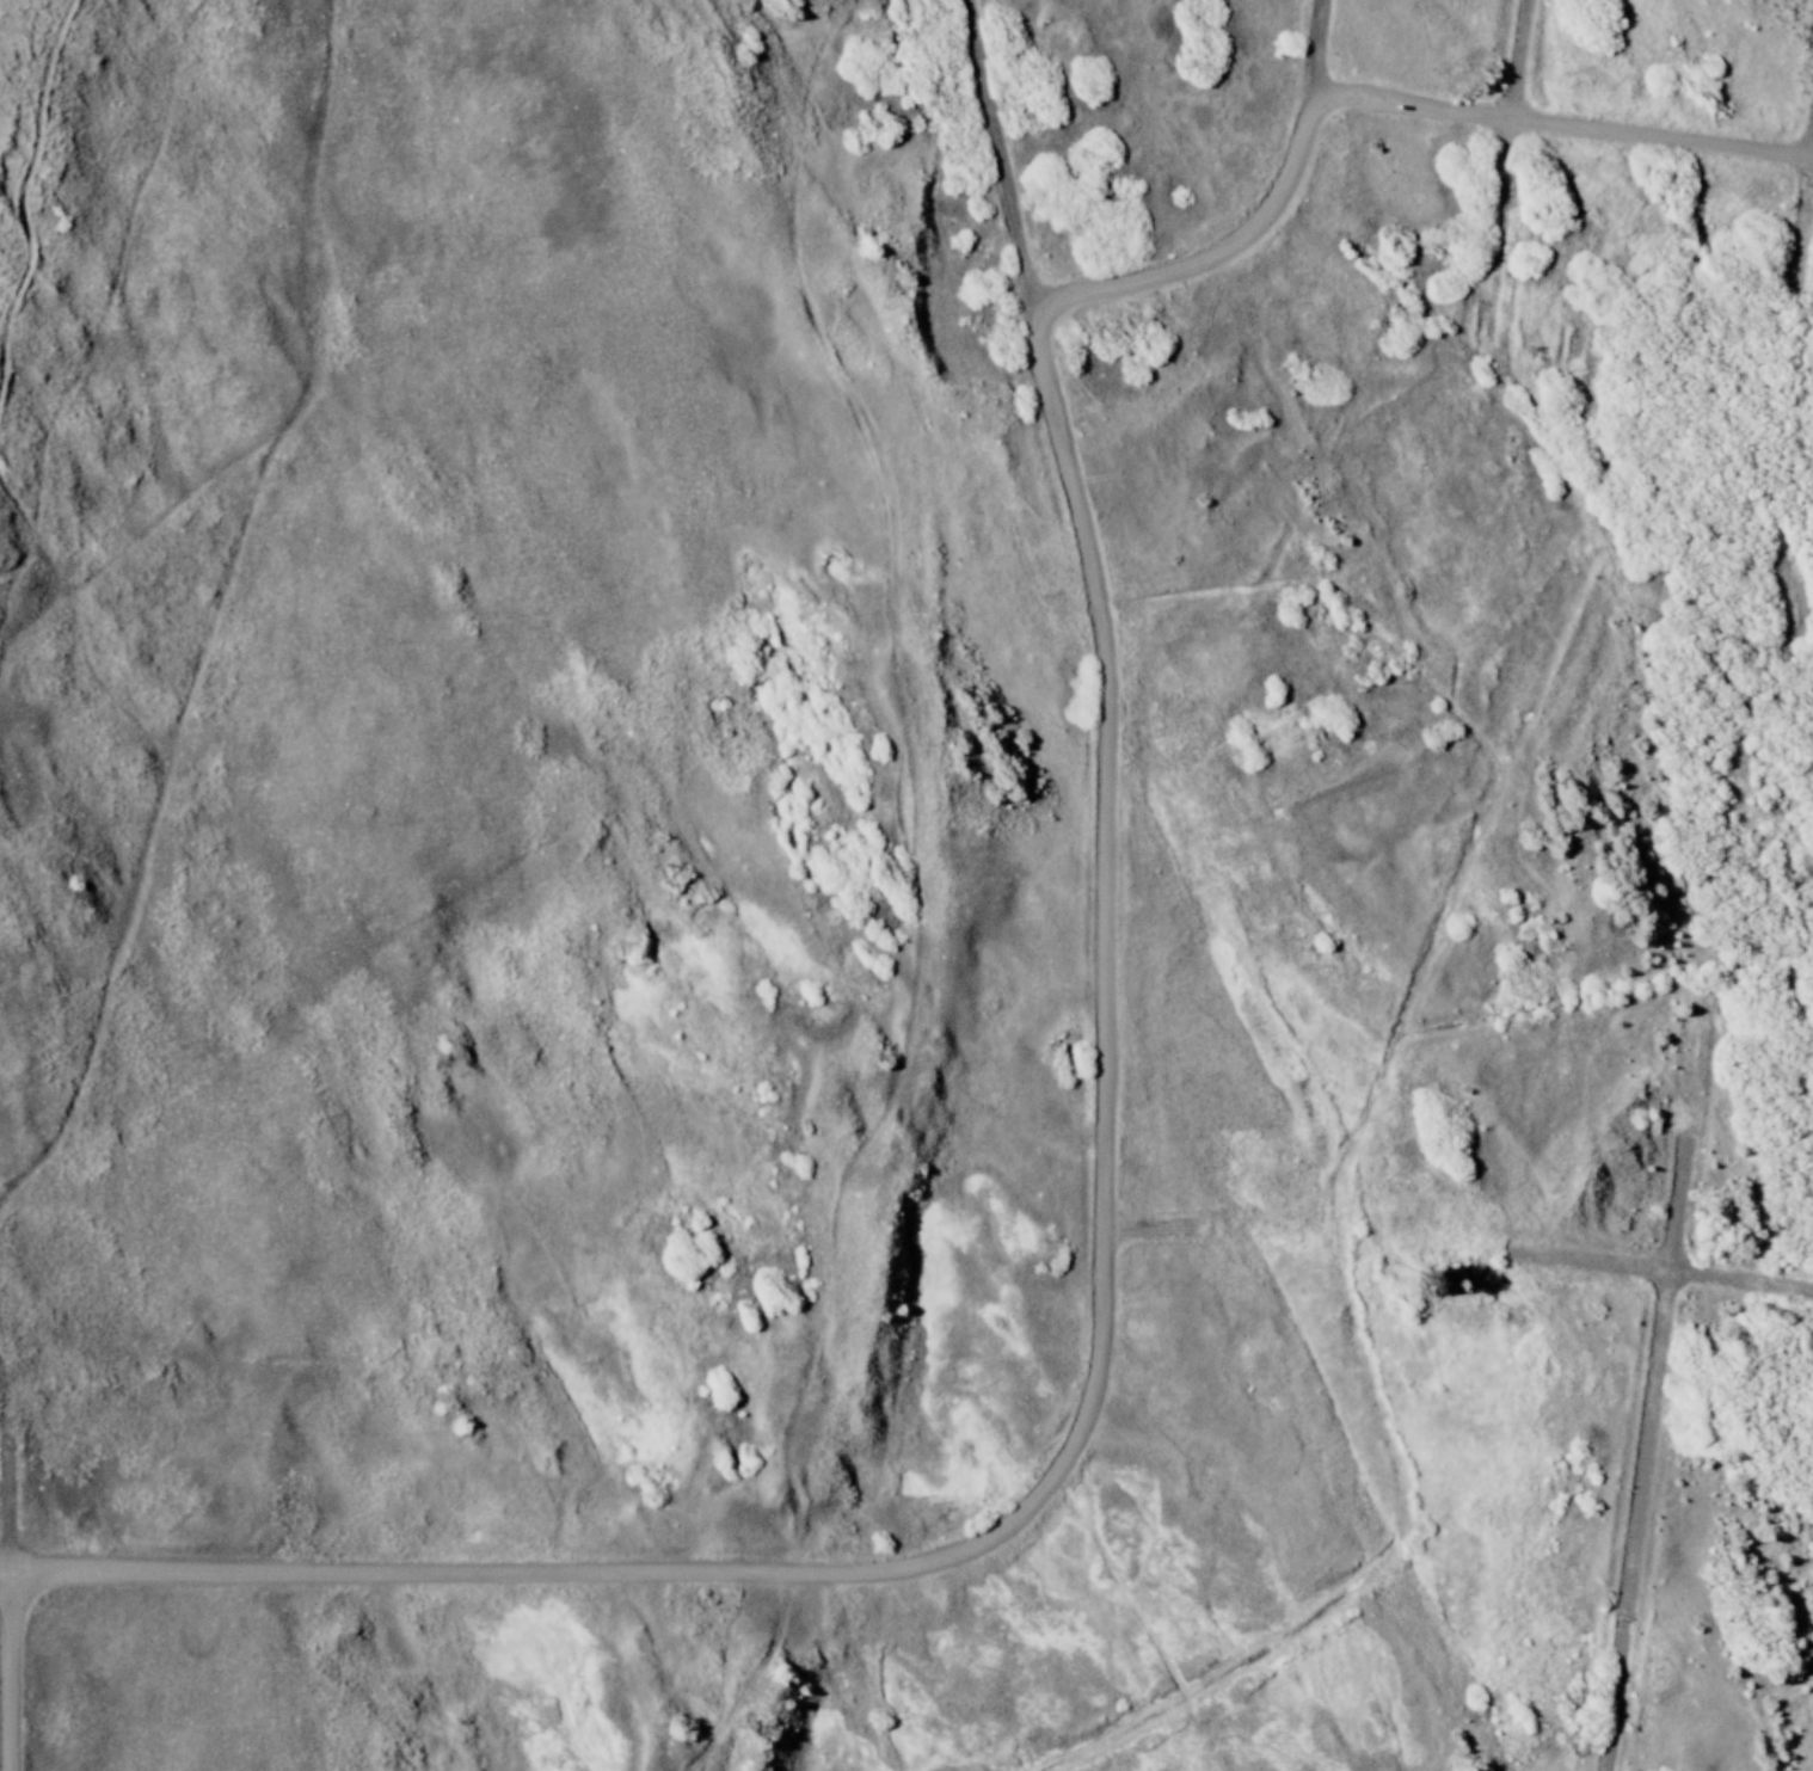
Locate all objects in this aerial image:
road: (1320, 48)
road: (1524, 62)
road: (1563, 129)
road: (1504, 226)
road: (1805, 234)
road: (1221, 254)
road: (1678, 1220)
road: (1153, 1231)
road: (1104, 1269)
road: (1599, 1272)
road: (1739, 1283)
road: (1637, 1529)
road: (20, 1576)
road: (11, 1679)

